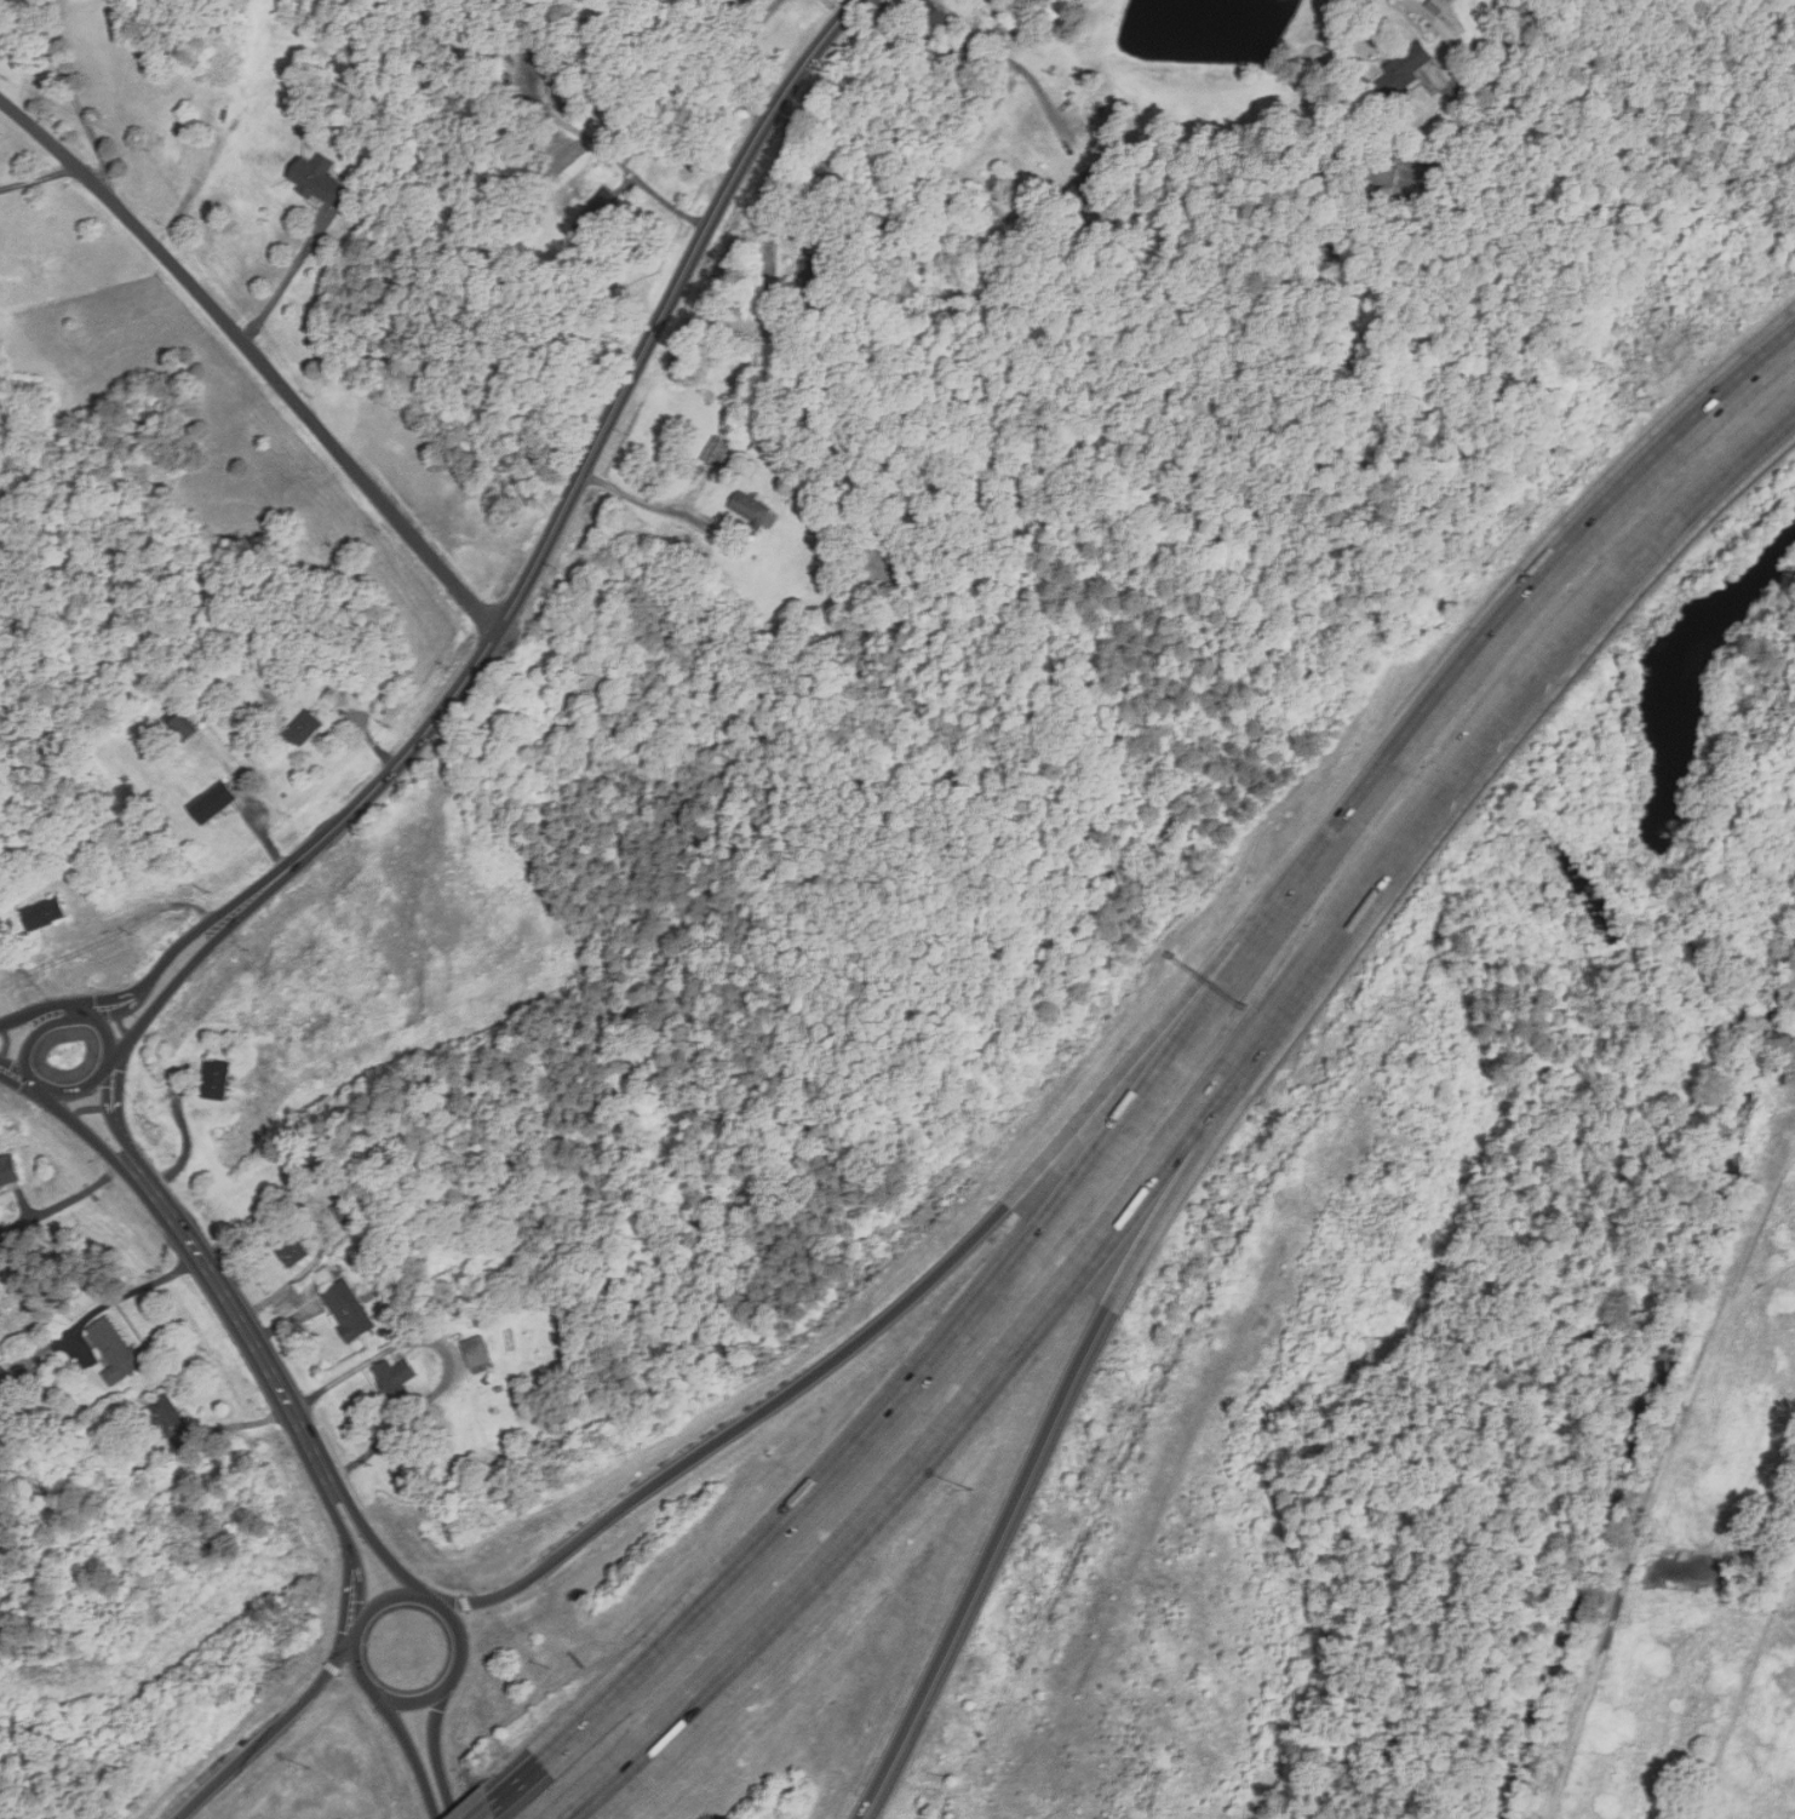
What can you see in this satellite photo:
building: (740, 1)
building: (1434, 5)
road: (836, 6)
building: (937, 18)
road: (1438, 19)
road: (977, 54)
road: (526, 56)
road: (746, 57)
building: (1400, 70)
road: (75, 97)
road: (626, 166)
road: (38, 174)
building: (320, 179)
road: (781, 180)
building: (1088, 188)
building: (600, 212)
road: (287, 280)
building: (814, 282)
building: (906, 291)
road: (258, 358)
building: (716, 451)
road: (577, 494)
road: (631, 495)
building: (753, 509)
road: (1463, 669)
building: (182, 725)
building: (299, 728)
building: (212, 803)
building: (42, 913)
road: (134, 916)
road: (171, 956)
road: (165, 999)
road: (103, 1008)
road: (17, 1032)
road: (22, 1046)
road: (15, 1075)
building: (218, 1081)
road: (109, 1091)
road: (1195, 1125)
road: (91, 1136)
road: (188, 1142)
road: (119, 1147)
building: (7, 1171)
building: (288, 1246)
building: (321, 1275)
road: (131, 1293)
building: (348, 1309)
road: (240, 1322)
building: (114, 1349)
road: (449, 1350)
building: (474, 1354)
road: (836, 1368)
building: (395, 1378)
building: (172, 1422)
road: (861, 1441)
road: (1046, 1452)
road: (337, 1517)
road: (377, 1548)
road: (351, 1597)
road: (428, 1705)
road: (274, 1739)
road: (443, 1806)
road: (492, 1809)
road: (446, 1813)

